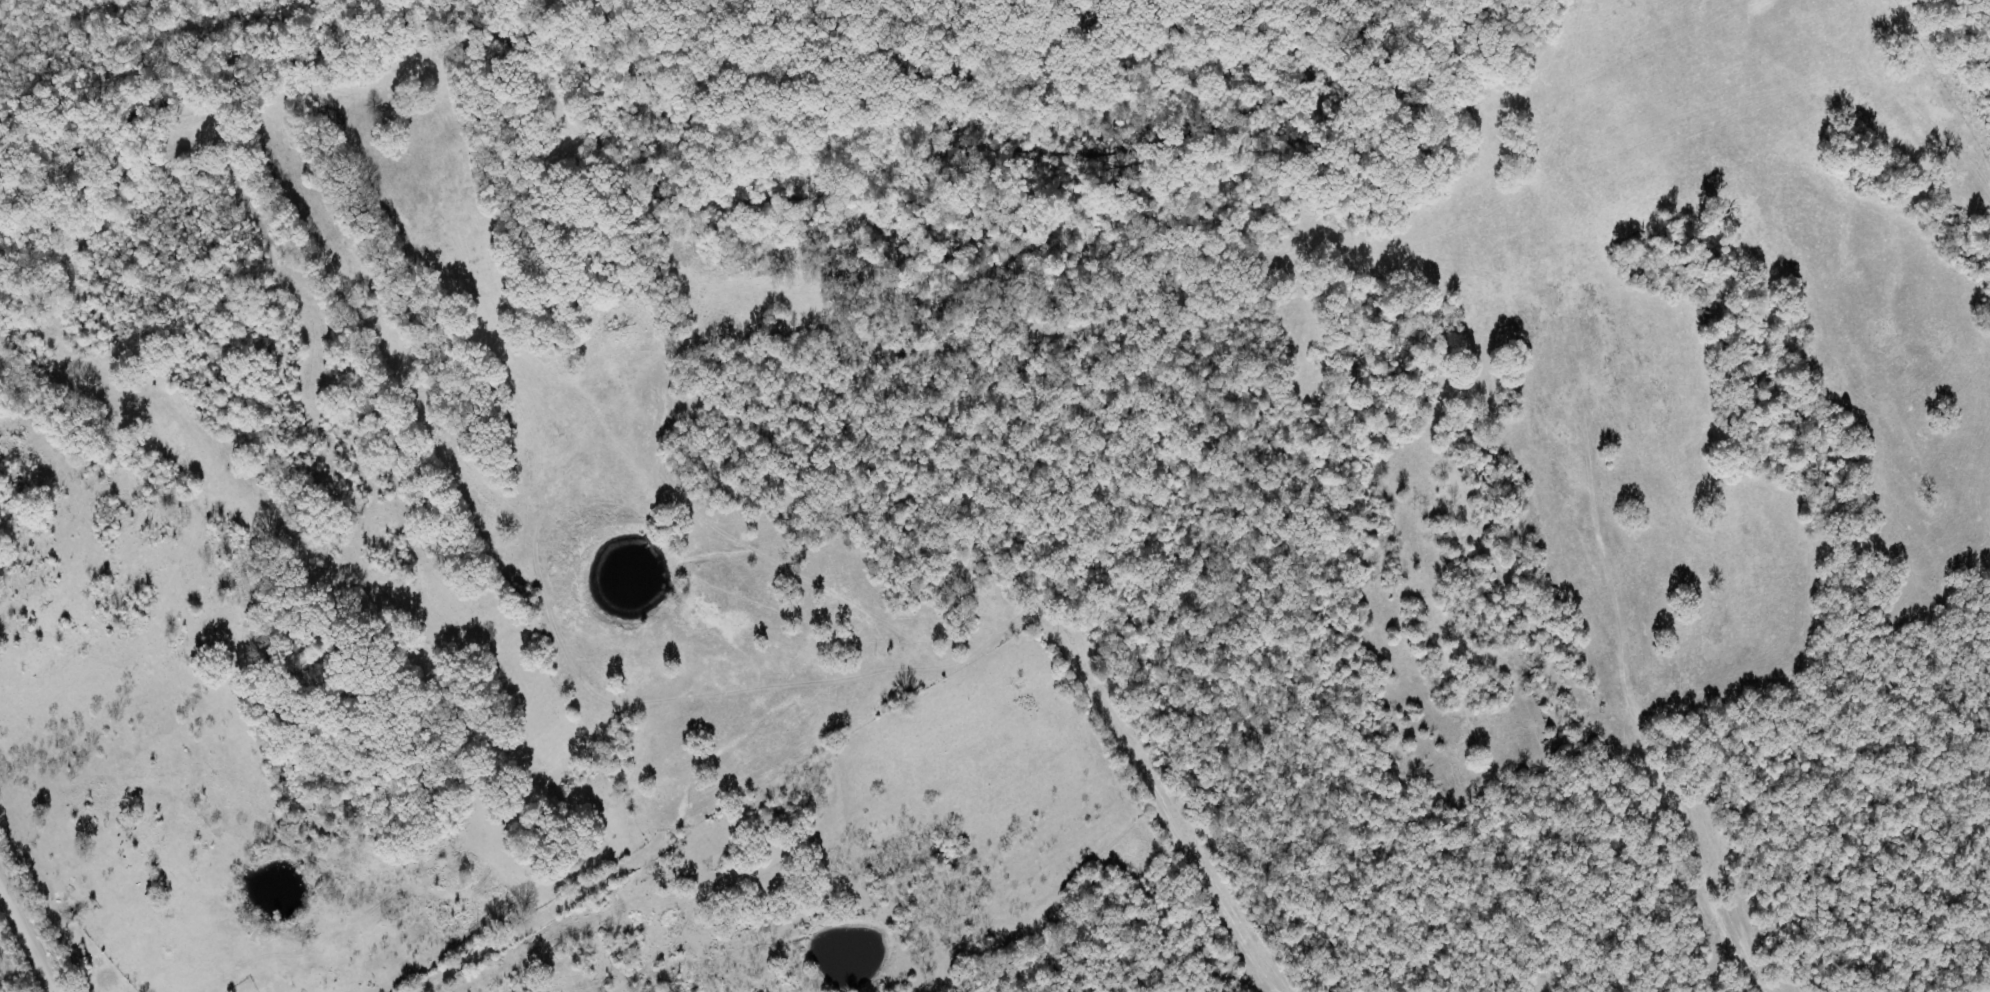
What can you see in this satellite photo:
road: (507, 937)
road: (27, 939)

